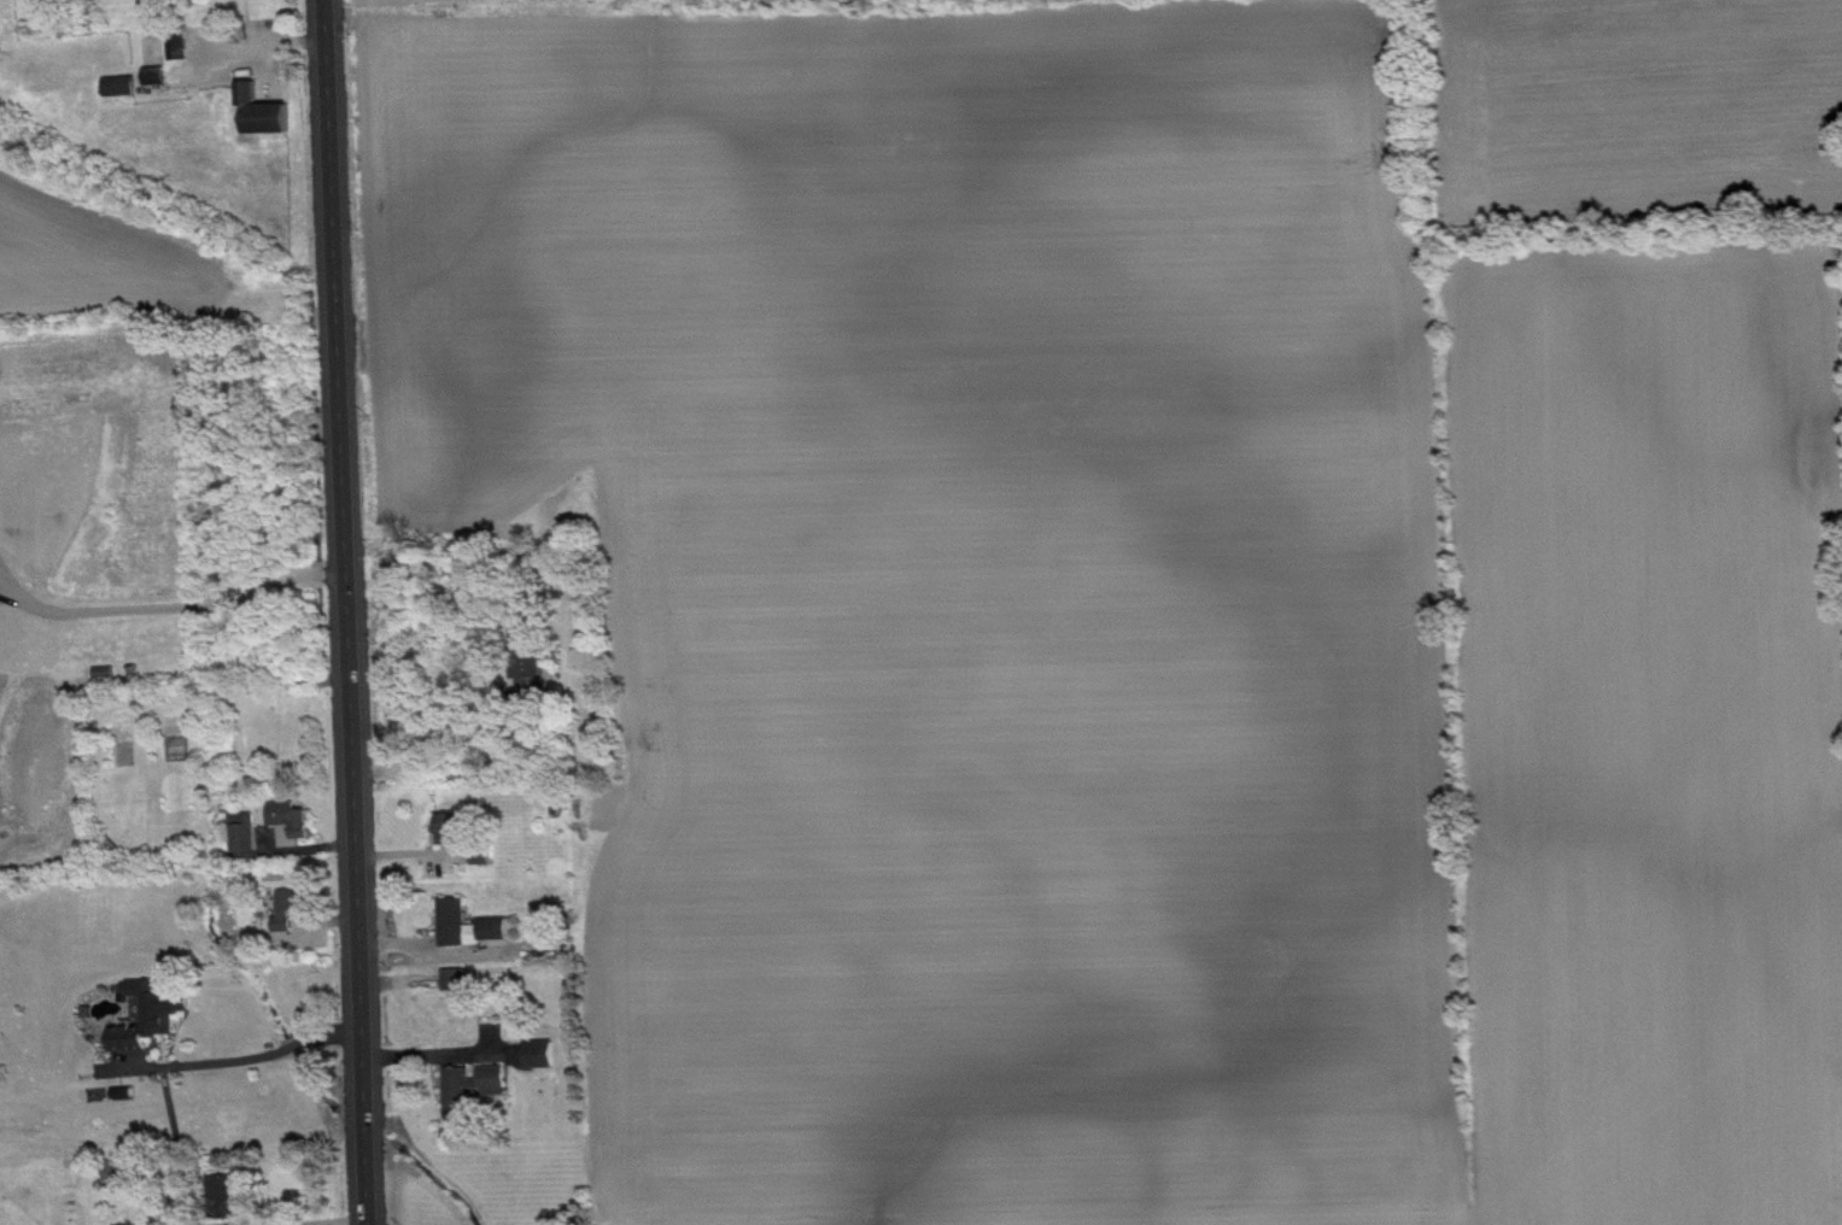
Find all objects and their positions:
building: (185, 48)
building: (162, 77)
building: (128, 88)
building: (270, 113)
road: (168, 606)
road: (347, 612)
building: (537, 670)
road: (431, 734)
building: (298, 821)
building: (456, 831)
building: (250, 834)
building: (292, 913)
building: (474, 927)
building: (462, 981)
building: (156, 1018)
road: (241, 1056)
building: (546, 1056)
building: (476, 1091)
building: (124, 1173)
building: (232, 1198)
road: (312, 1220)

